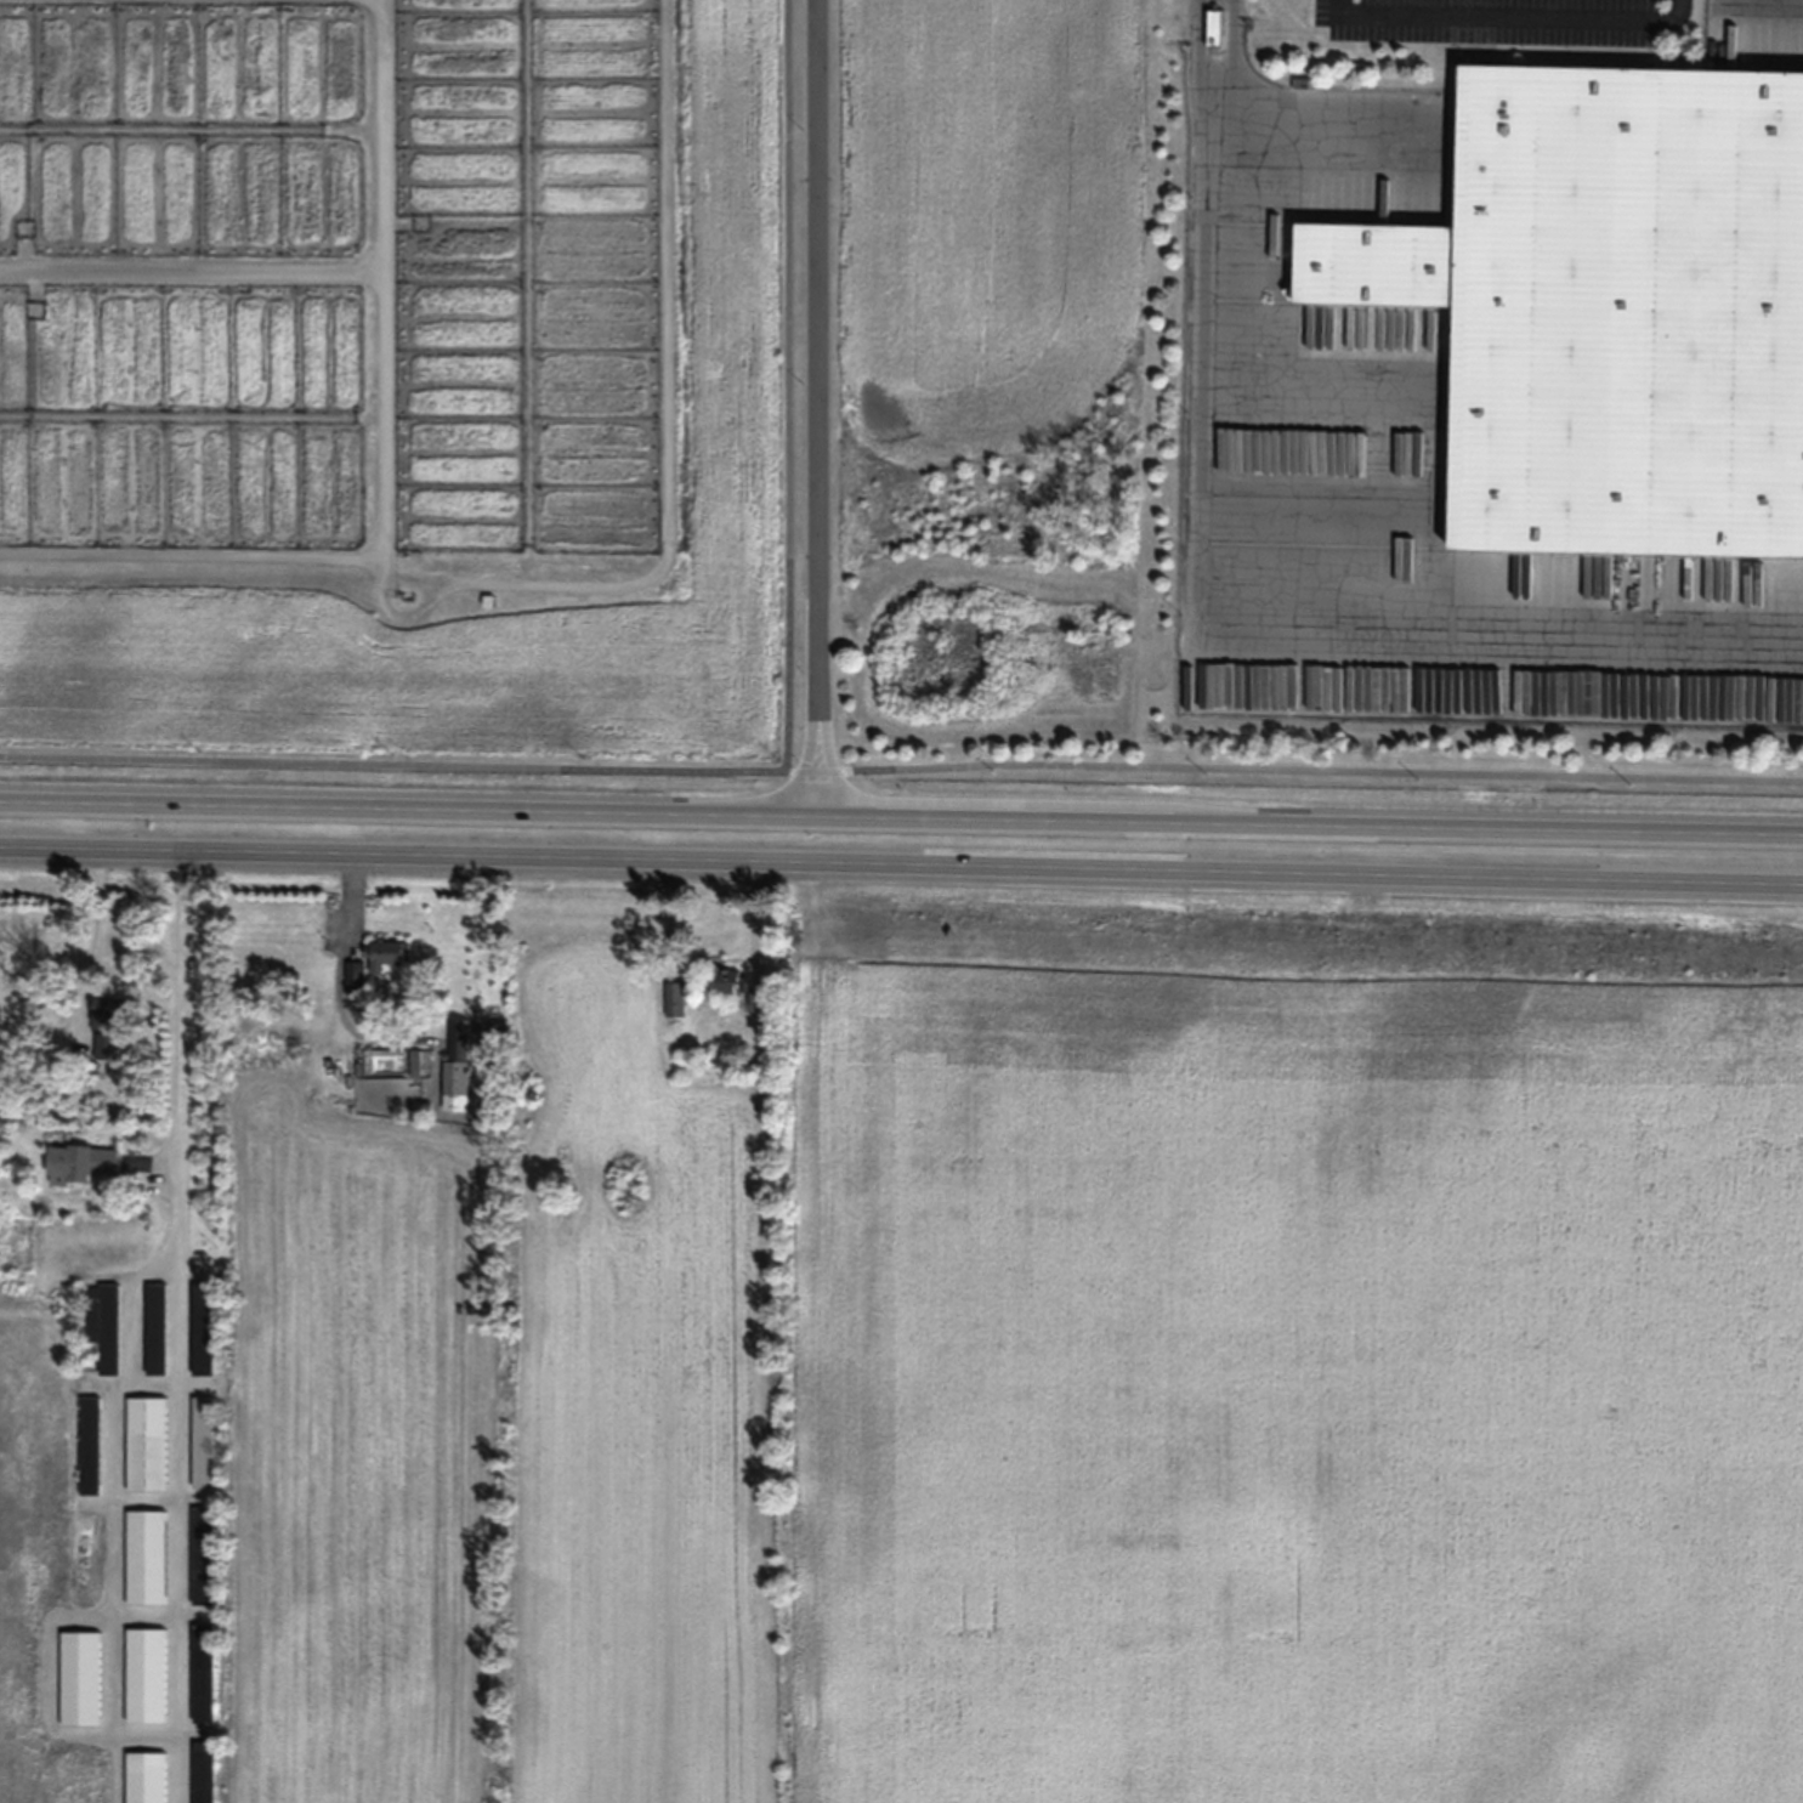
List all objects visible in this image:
road: (1508, 16)
building: (1215, 27)
road: (1236, 47)
road: (1198, 49)
road: (813, 299)
building: (1611, 314)
crop: (399, 372)
road: (788, 385)
road: (1224, 642)
road: (813, 694)
road: (901, 767)
road: (809, 804)
road: (817, 804)
road: (901, 815)
road: (901, 863)
road: (96, 930)
building: (386, 956)
building: (356, 970)
building: (725, 980)
building: (675, 998)
building: (113, 1013)
road: (183, 1042)
building: (106, 1048)
building: (458, 1065)
building: (81, 1163)
building: (106, 1326)
building: (157, 1328)
building: (204, 1331)
building: (204, 1442)
building: (147, 1445)
building: (90, 1446)
road: (117, 1504)
road: (181, 1519)
building: (203, 1557)
building: (147, 1558)
building: (203, 1672)
building: (147, 1676)
building: (81, 1678)
building: (204, 1771)
building: (147, 1778)

